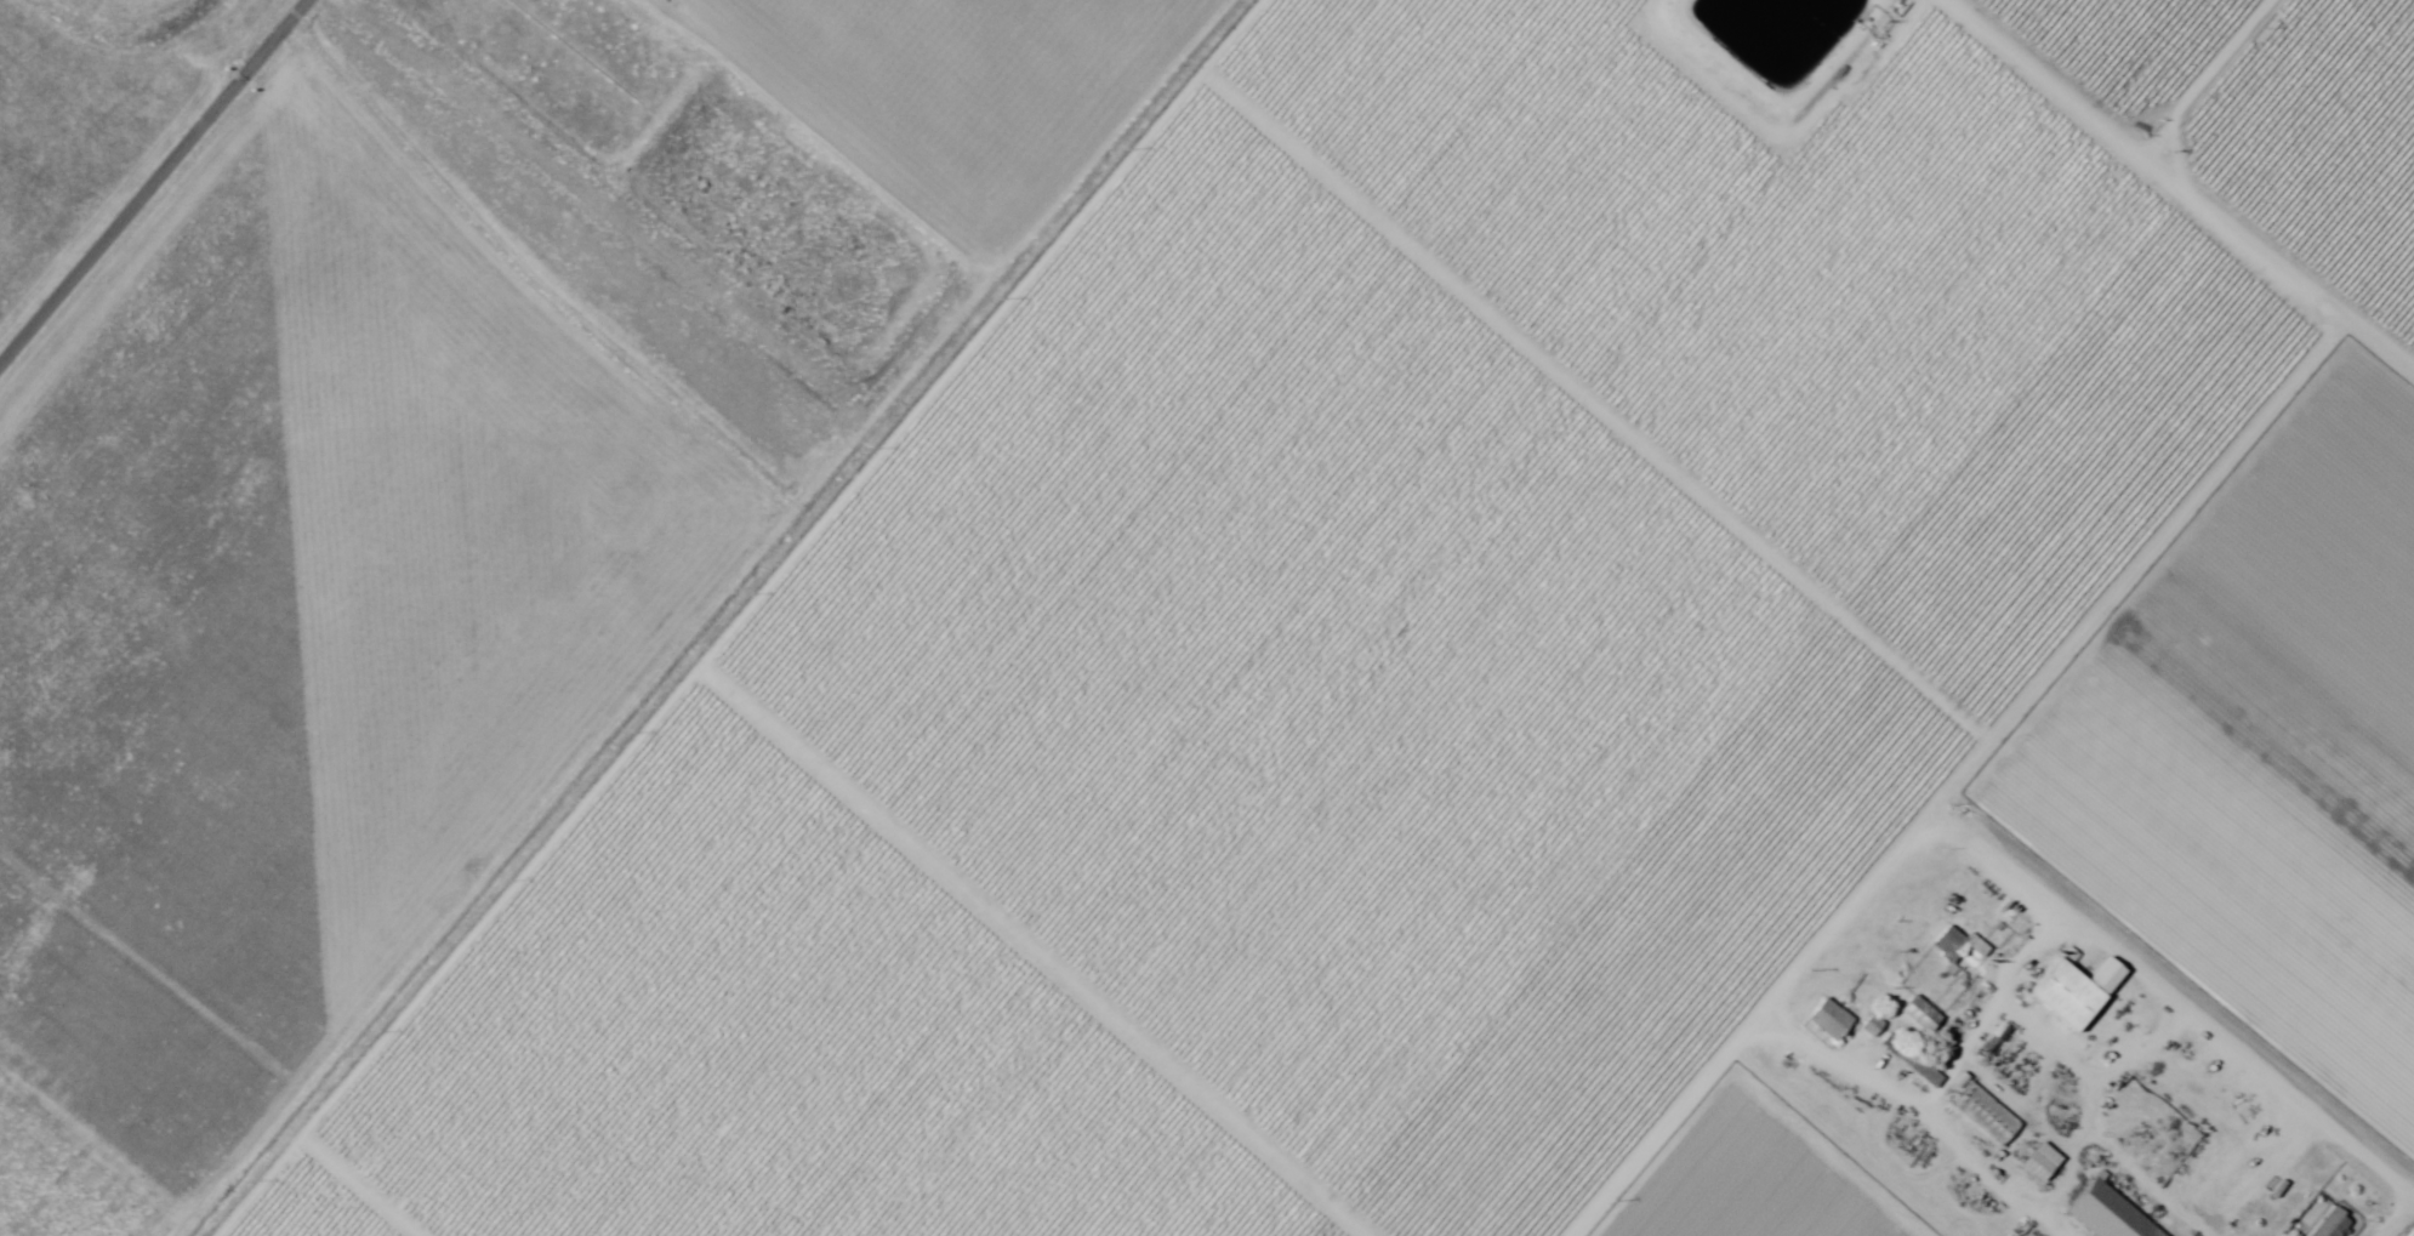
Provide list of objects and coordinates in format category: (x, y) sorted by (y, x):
road: (2205, 76)
road: (1776, 119)
road: (153, 181)
road: (2180, 186)
road: (1599, 409)
road: (693, 617)
road: (738, 617)
crop: (1549, 682)
road: (1968, 780)
building: (1958, 945)
road: (1032, 951)
building: (2072, 991)
road: (2182, 996)
building: (1919, 1014)
building: (1828, 1019)
building: (1924, 1071)
building: (1983, 1113)
building: (2040, 1164)
road: (363, 1184)
wastewater plant: (51, 1187)
building: (2106, 1214)
building: (2332, 1224)
wastewater plant: (4, 1232)

